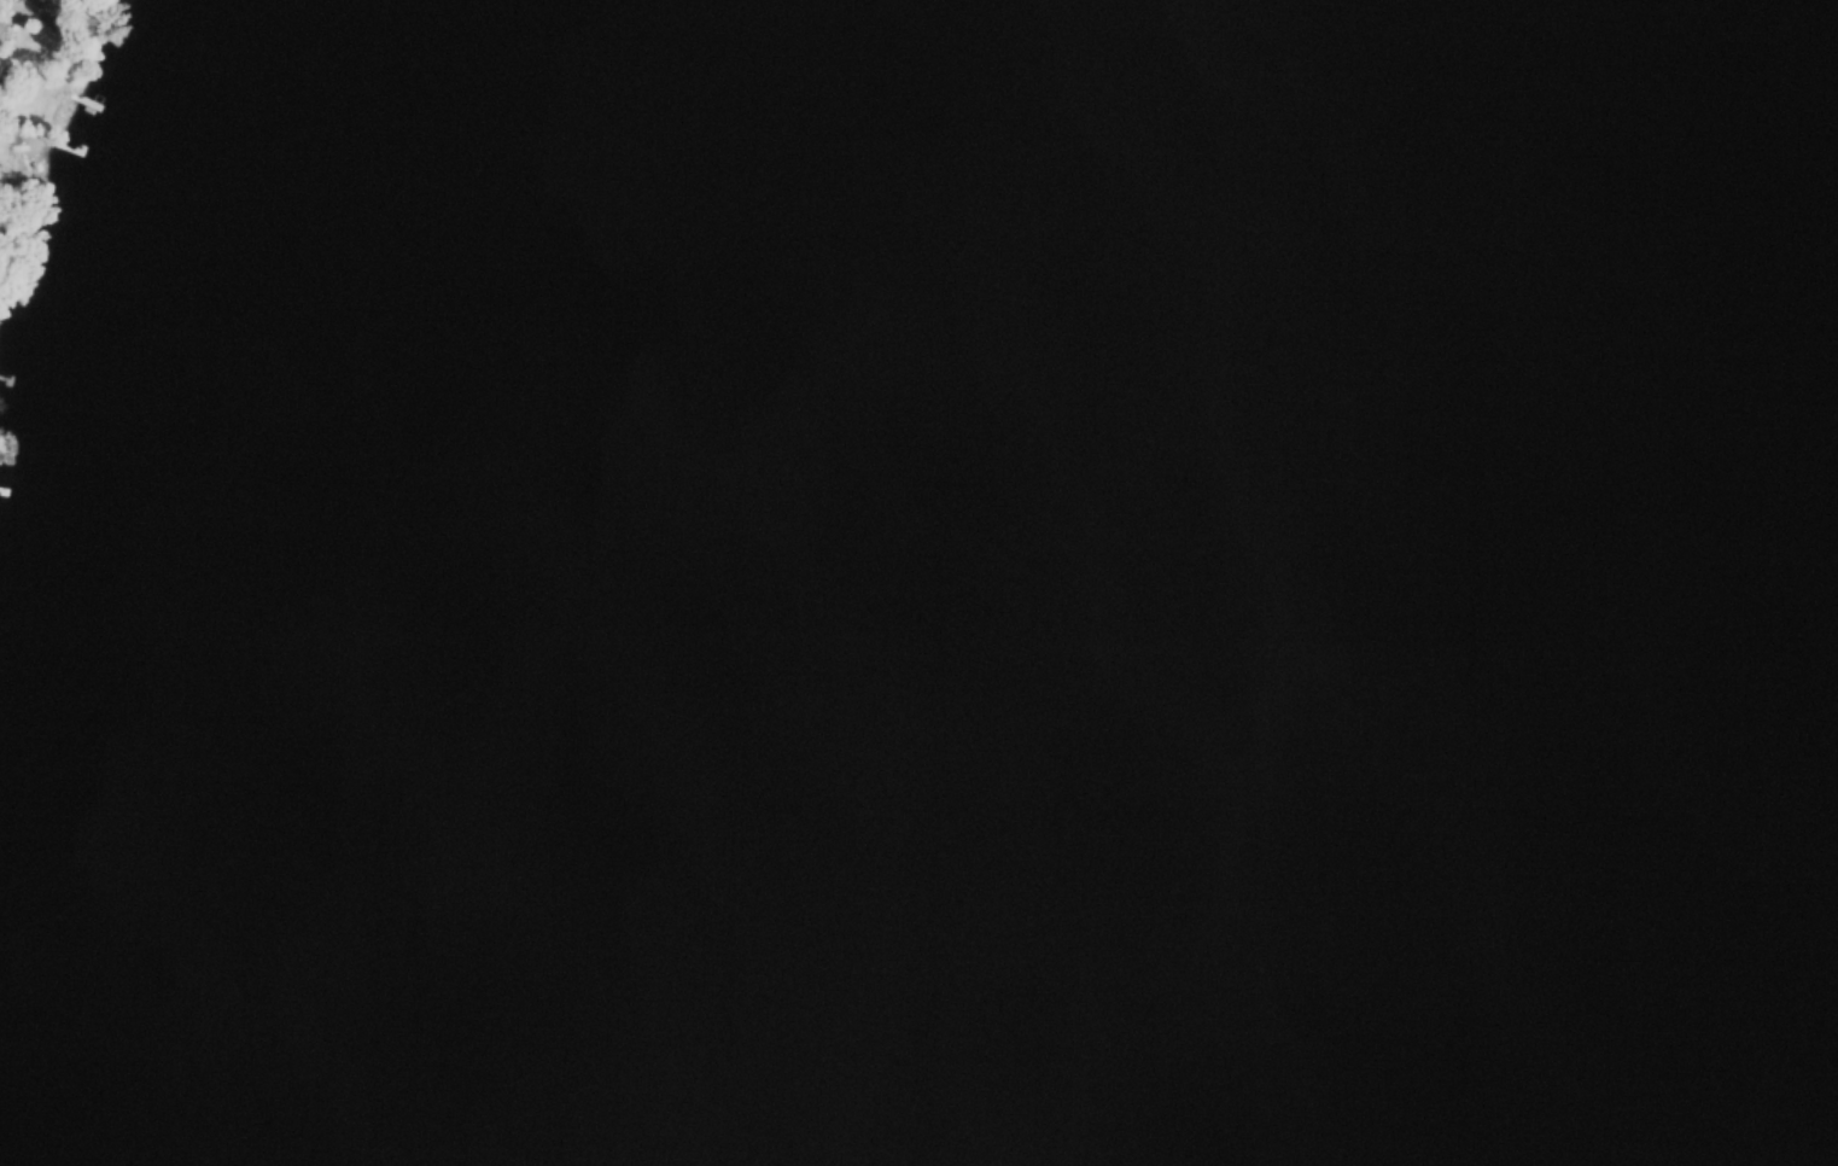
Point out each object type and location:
river: (1139, 579)

